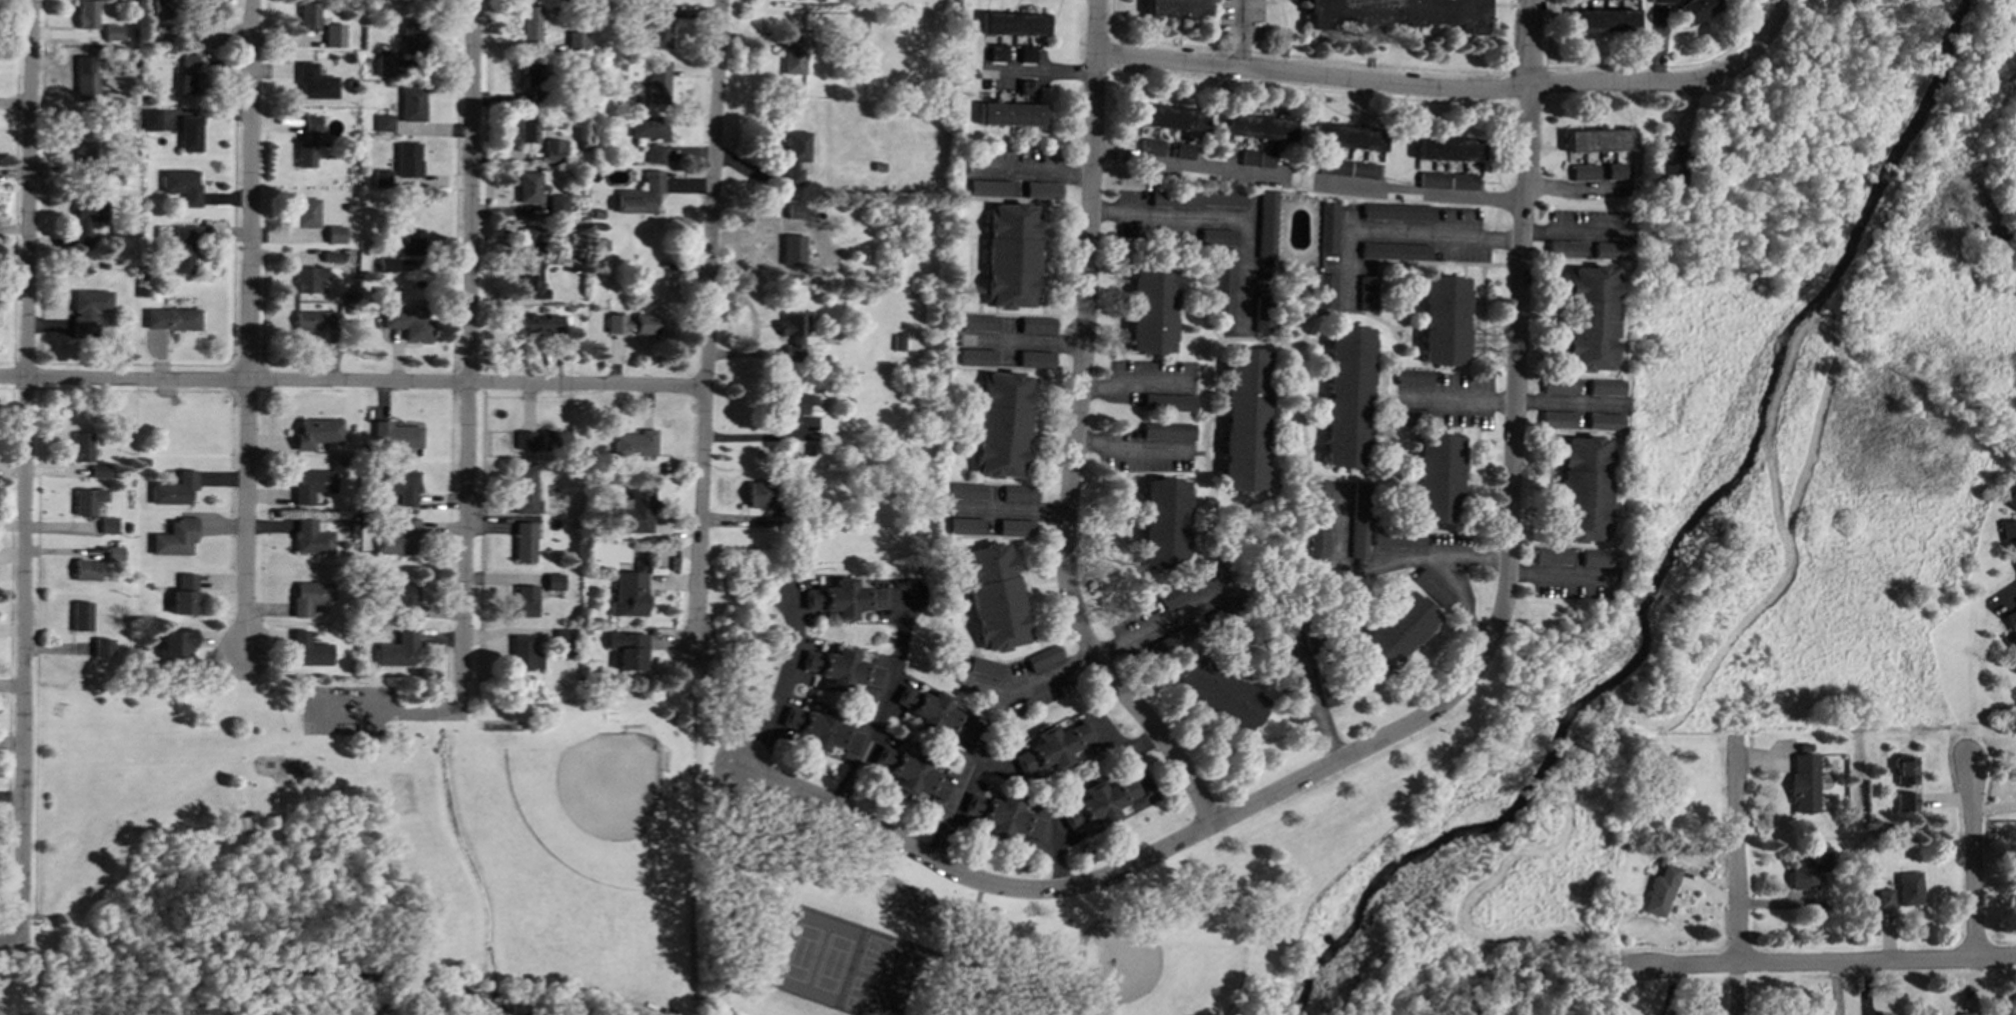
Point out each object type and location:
building: (1661, 1)
road: (1259, 2)
building: (1184, 7)
building: (160, 9)
building: (1695, 9)
building: (1399, 12)
building: (86, 14)
building: (308, 14)
building: (1604, 19)
building: (1015, 23)
building: (530, 24)
building: (659, 26)
building: (111, 32)
road: (1244, 34)
road: (1770, 34)
building: (334, 35)
building: (413, 36)
road: (1287, 36)
building: (577, 40)
building: (997, 52)
building: (1028, 53)
building: (793, 54)
building: (189, 61)
building: (384, 62)
road: (1043, 68)
building: (85, 78)
building: (532, 79)
building: (658, 81)
building: (314, 82)
building: (191, 83)
building: (1028, 84)
road: (1421, 88)
building: (412, 103)
building: (1012, 113)
building: (1173, 117)
building: (150, 118)
building: (384, 122)
building: (649, 126)
building: (1261, 126)
building: (530, 128)
building: (189, 133)
building: (1352, 136)
building: (1598, 139)
building: (308, 142)
building: (1151, 146)
building: (1449, 148)
building: (83, 149)
building: (552, 150)
building: (1185, 150)
building: (655, 153)
building: (796, 157)
building: (1248, 157)
building: (1266, 159)
road: (1191, 162)
building: (400, 164)
building: (1333, 166)
building: (1669, 167)
building: (1363, 169)
building: (1615, 170)
building: (1584, 171)
road: (1033, 172)
building: (1432, 178)
building: (2015, 179)
building: (1462, 181)
building: (182, 185)
building: (528, 187)
building: (990, 187)
road: (1575, 188)
building: (1044, 189)
building: (641, 194)
road: (1429, 194)
building: (1199, 198)
building: (557, 205)
building: (795, 210)
building: (1396, 211)
building: (306, 212)
road: (1228, 218)
building: (87, 219)
building: (1266, 224)
building: (1329, 227)
road: (1572, 230)
road: (1395, 231)
building: (335, 233)
building: (1218, 236)
building: (410, 241)
building: (527, 241)
building: (1564, 248)
building: (184, 249)
building: (1610, 249)
building: (792, 250)
building: (1395, 250)
building: (1011, 255)
building: (332, 256)
road: (1420, 261)
building: (386, 264)
building: (308, 278)
building: (531, 278)
building: (1326, 290)
building: (1225, 291)
building: (1367, 292)
road: (1115, 298)
building: (1152, 306)
building: (88, 311)
building: (1262, 314)
building: (1588, 317)
building: (171, 318)
building: (315, 319)
road: (1204, 319)
road: (1378, 319)
building: (1443, 320)
building: (408, 322)
building: (979, 322)
building: (539, 323)
building: (633, 323)
road: (249, 324)
road: (708, 324)
building: (791, 324)
building: (1038, 324)
road: (1399, 327)
building: (898, 342)
road: (1029, 342)
building: (795, 349)
building: (977, 356)
building: (1038, 358)
building: (1412, 377)
road: (352, 382)
building: (1558, 384)
road: (1136, 385)
building: (1605, 386)
road: (1197, 393)
building: (1347, 396)
road: (1390, 396)
road: (1477, 398)
road: (1455, 399)
building: (1170, 402)
road: (1567, 403)
building: (796, 404)
building: (1411, 416)
building: (1245, 418)
building: (1557, 419)
building: (1604, 420)
building: (1002, 424)
road: (468, 427)
building: (1168, 430)
building: (315, 432)
road: (1076, 434)
building: (394, 435)
road: (758, 436)
building: (524, 439)
building: (555, 439)
road: (1392, 439)
building: (635, 443)
building: (82, 446)
road: (1134, 451)
road: (1200, 453)
road: (1306, 461)
road: (25, 467)
building: (98, 470)
building: (1436, 475)
road: (1210, 478)
road: (1351, 479)
building: (311, 484)
building: (400, 486)
building: (173, 488)
building: (525, 490)
road: (1510, 490)
building: (967, 491)
building: (1020, 492)
building: (760, 493)
building: (2010, 499)
building: (87, 500)
building: (634, 509)
road: (1010, 510)
building: (1320, 518)
building: (1361, 518)
building: (1164, 522)
building: (108, 524)
building: (966, 525)
building: (1017, 527)
building: (2008, 532)
building: (174, 537)
building: (309, 537)
building: (398, 538)
building: (1397, 538)
road: (1125, 540)
building: (524, 541)
building: (114, 553)
building: (608, 553)
building: (1551, 555)
building: (1598, 557)
building: (86, 570)
road: (1350, 572)
road: (1451, 572)
road: (1555, 574)
building: (554, 581)
building: (1191, 586)
building: (1432, 587)
building: (629, 594)
building: (183, 595)
building: (309, 596)
building: (402, 596)
building: (995, 596)
building: (844, 598)
building: (525, 600)
road: (2006, 601)
building: (81, 615)
road: (1165, 619)
building: (1394, 631)
building: (2011, 631)
building: (563, 637)
building: (1172, 641)
building: (175, 644)
building: (102, 646)
building: (629, 649)
building: (309, 650)
building: (397, 650)
building: (525, 653)
building: (1044, 657)
building: (843, 667)
building: (985, 667)
road: (1400, 677)
road: (784, 683)
road: (1033, 685)
building: (1218, 693)
road: (1312, 694)
road: (882, 702)
building: (1295, 704)
parking lot: (347, 709)
building: (934, 711)
road: (710, 713)
building: (822, 728)
road: (1113, 731)
road: (1205, 732)
building: (1052, 747)
road: (1135, 757)
park: (122, 761)
building: (1905, 769)
building: (912, 773)
building: (1803, 781)
building: (1099, 801)
building: (1905, 801)
road: (954, 807)
building: (1004, 816)
building: (240, 824)
road: (817, 833)
park: (593, 849)
road: (1058, 850)
road: (1736, 852)
road: (1973, 861)
building: (793, 865)
building: (1807, 868)
park: (740, 873)
road: (974, 880)
building: (1908, 887)
building: (1659, 890)
building: (1883, 897)
road: (963, 910)
road: (10, 941)
road: (973, 949)
road: (948, 953)
park: (887, 958)
park: (1152, 959)
building: (1007, 960)
road: (1830, 963)
park: (832, 967)
building: (1963, 1014)

